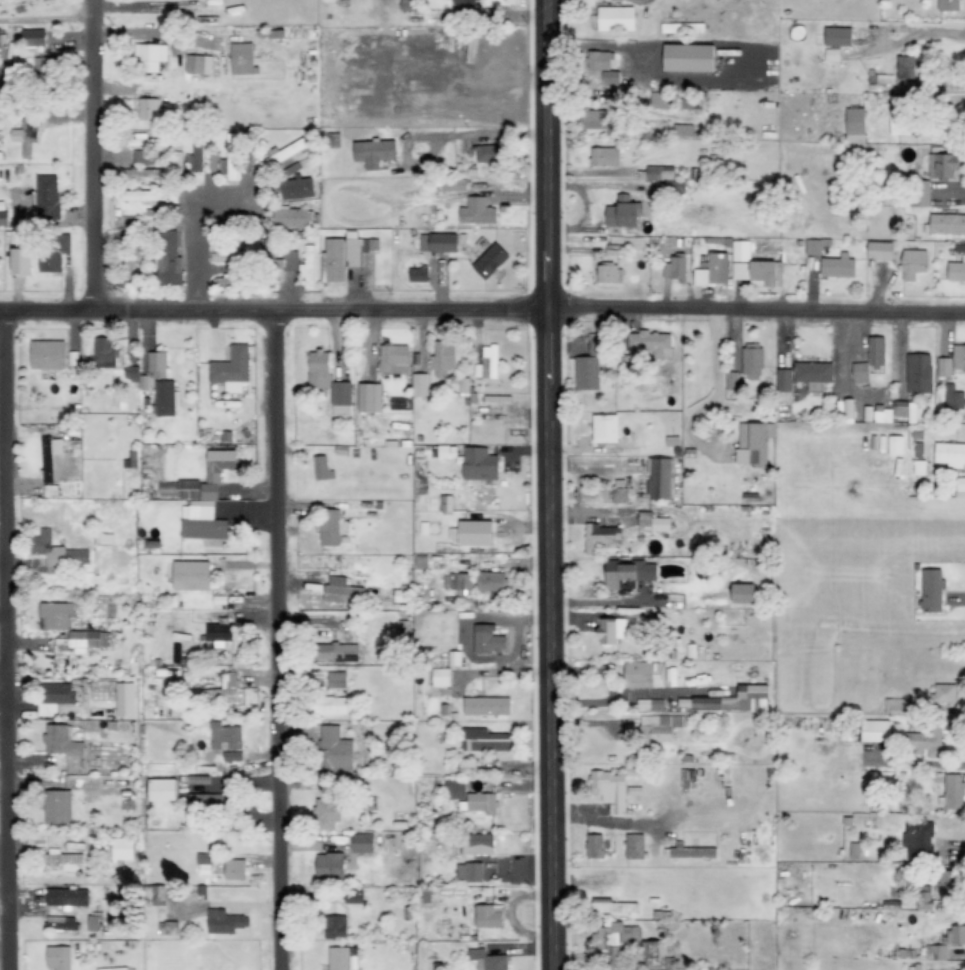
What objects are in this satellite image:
building: (947, 5)
building: (616, 18)
building: (682, 27)
building: (837, 36)
building: (33, 38)
building: (832, 53)
building: (150, 57)
building: (689, 57)
building: (242, 59)
building: (599, 60)
building: (198, 64)
building: (43, 68)
building: (907, 69)
building: (611, 77)
building: (658, 100)
building: (150, 109)
building: (899, 114)
building: (855, 120)
building: (601, 121)
building: (682, 130)
building: (25, 136)
building: (145, 141)
building: (286, 152)
building: (373, 152)
building: (195, 154)
building: (490, 154)
road: (93, 155)
building: (605, 156)
building: (230, 157)
building: (142, 159)
building: (943, 165)
building: (143, 173)
building: (659, 173)
building: (453, 184)
building: (297, 188)
building: (920, 193)
building: (143, 196)
building: (47, 197)
building: (477, 211)
building: (2, 213)
building: (623, 213)
building: (293, 217)
building: (947, 224)
building: (438, 242)
building: (812, 247)
building: (879, 250)
building: (54, 251)
building: (227, 253)
building: (343, 256)
building: (168, 259)
building: (20, 260)
building: (489, 260)
building: (287, 261)
building: (913, 263)
building: (837, 267)
building: (674, 268)
building: (712, 270)
building: (956, 270)
building: (417, 274)
building: (609, 274)
building: (234, 282)
road: (482, 312)
building: (651, 342)
building: (596, 344)
building: (101, 352)
building: (876, 353)
building: (47, 354)
building: (392, 356)
building: (442, 358)
building: (951, 361)
building: (486, 363)
building: (751, 363)
building: (230, 369)
building: (319, 369)
building: (148, 370)
building: (812, 372)
building: (859, 372)
building: (586, 373)
building: (918, 373)
building: (731, 380)
building: (419, 384)
building: (783, 385)
building: (952, 397)
building: (166, 398)
building: (340, 398)
building: (366, 398)
building: (904, 410)
building: (882, 416)
building: (605, 428)
building: (754, 443)
building: (894, 445)
building: (444, 451)
building: (950, 454)
building: (49, 457)
building: (478, 465)
building: (321, 468)
building: (659, 479)
road: (549, 484)
building: (960, 484)
building: (619, 491)
building: (201, 521)
building: (652, 522)
building: (331, 527)
building: (475, 533)
building: (600, 536)
building: (46, 549)
building: (76, 556)
building: (628, 574)
building: (190, 576)
building: (457, 582)
building: (491, 582)
building: (341, 591)
building: (931, 591)
building: (743, 593)
building: (69, 628)
building: (611, 630)
building: (218, 632)
building: (487, 640)
road: (3, 641)
road: (278, 642)
building: (336, 652)
building: (643, 674)
building: (440, 677)
building: (337, 681)
road: (2, 685)
building: (101, 691)
building: (222, 691)
building: (943, 695)
building: (53, 697)
building: (124, 699)
building: (736, 700)
building: (327, 705)
building: (486, 706)
building: (896, 707)
building: (659, 727)
building: (875, 731)
building: (224, 736)
building: (483, 740)
building: (926, 740)
building: (60, 741)
building: (334, 751)
building: (454, 788)
building: (162, 790)
building: (609, 790)
building: (953, 792)
building: (210, 802)
building: (479, 803)
building: (57, 807)
building: (327, 814)
building: (917, 840)
building: (362, 843)
building: (474, 845)
building: (594, 846)
building: (634, 846)
building: (122, 849)
building: (688, 852)
building: (62, 860)
building: (203, 864)
building: (329, 866)
building: (234, 870)
building: (469, 872)
building: (946, 884)
building: (923, 901)
building: (613, 906)
building: (488, 916)
building: (224, 922)
building: (61, 923)
building: (335, 927)
building: (167, 928)
building: (956, 935)
building: (616, 943)
building: (935, 952)
building: (58, 958)
building: (341, 959)
building: (487, 960)
building: (112, 968)

